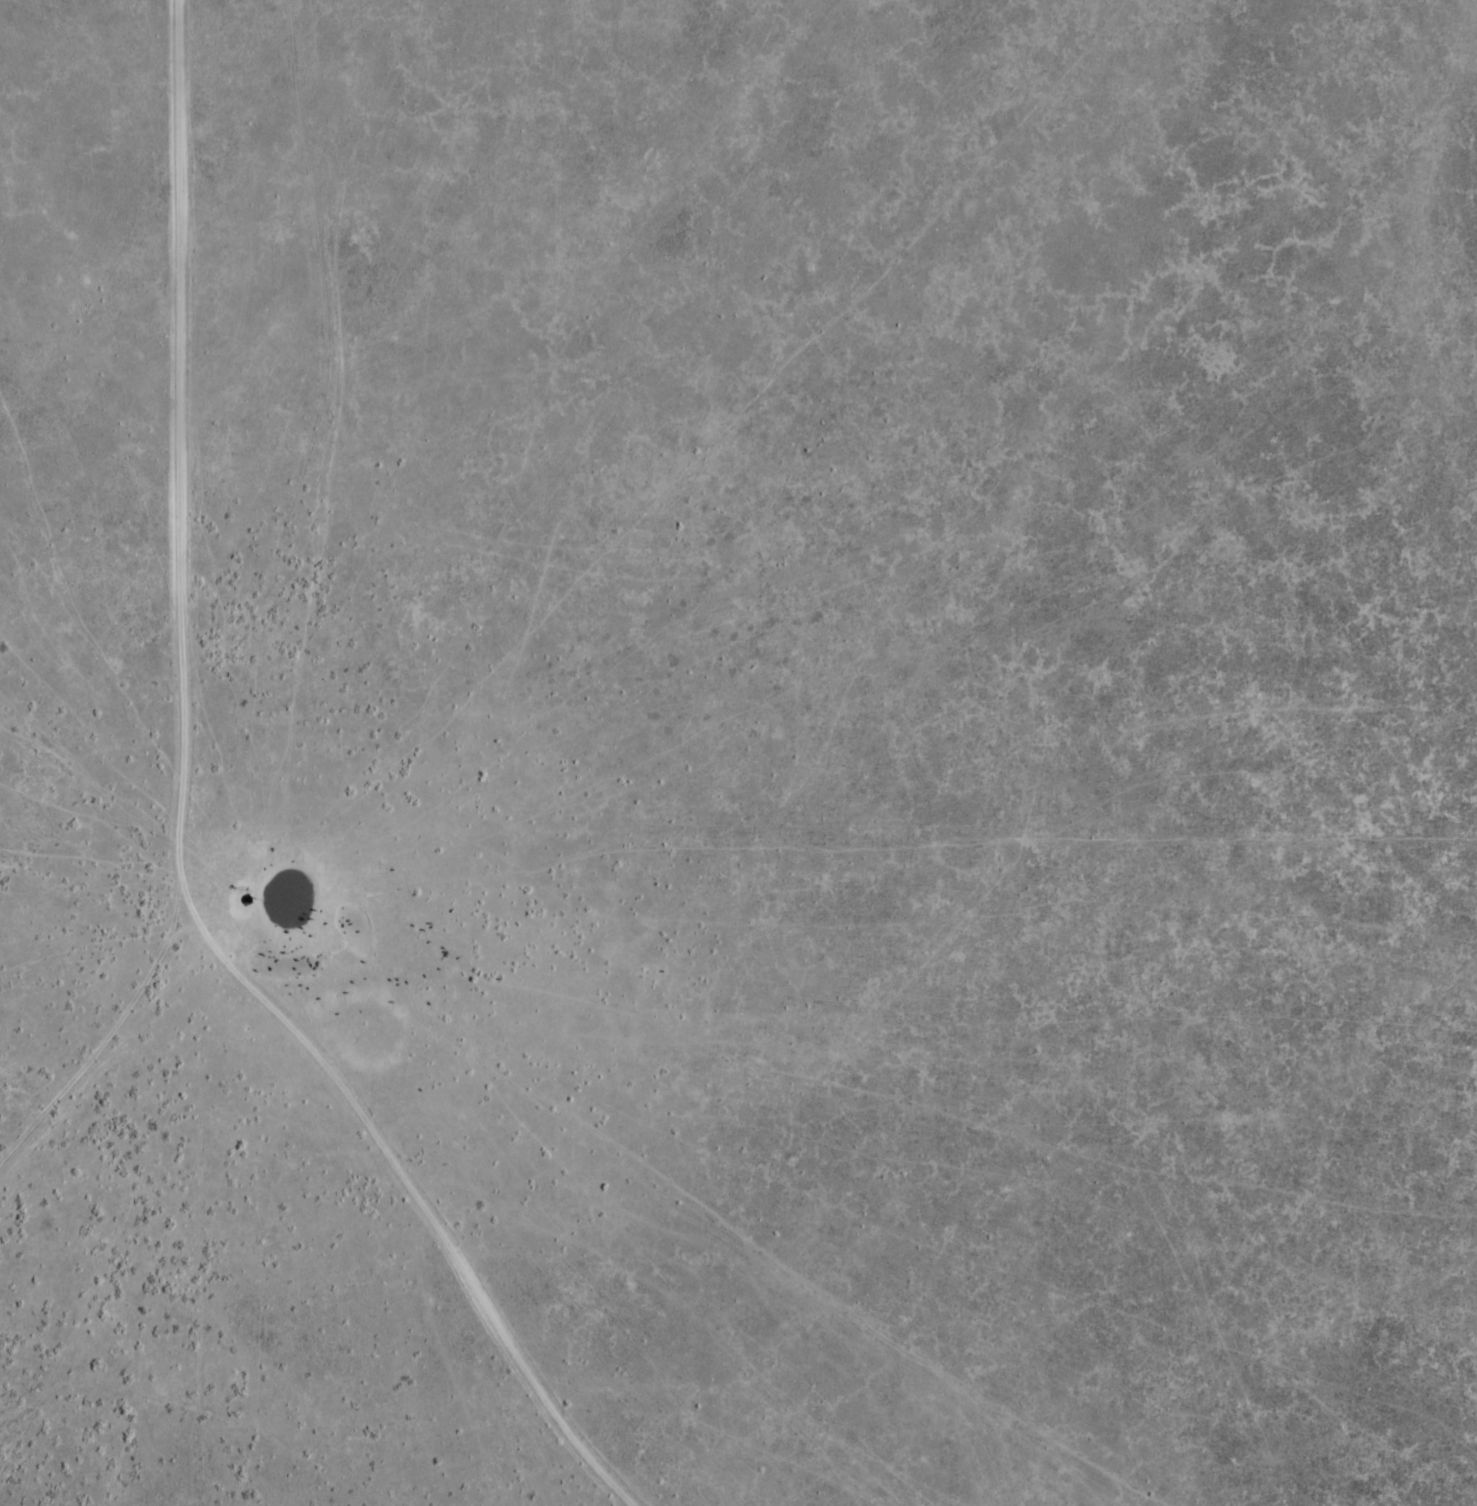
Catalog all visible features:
road: (192, 617)

